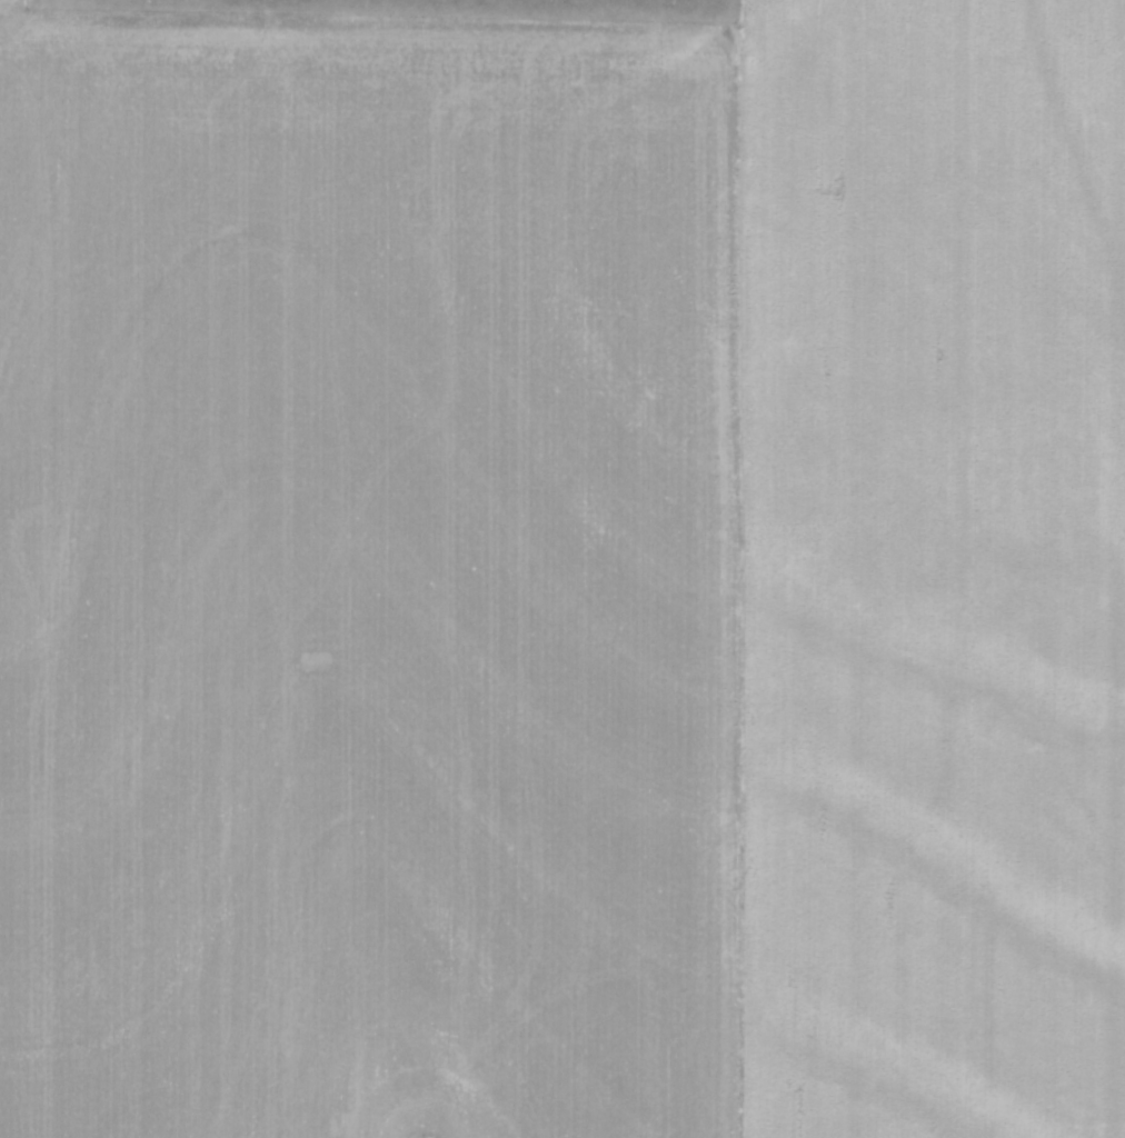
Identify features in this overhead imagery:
crop: (930, 569)

